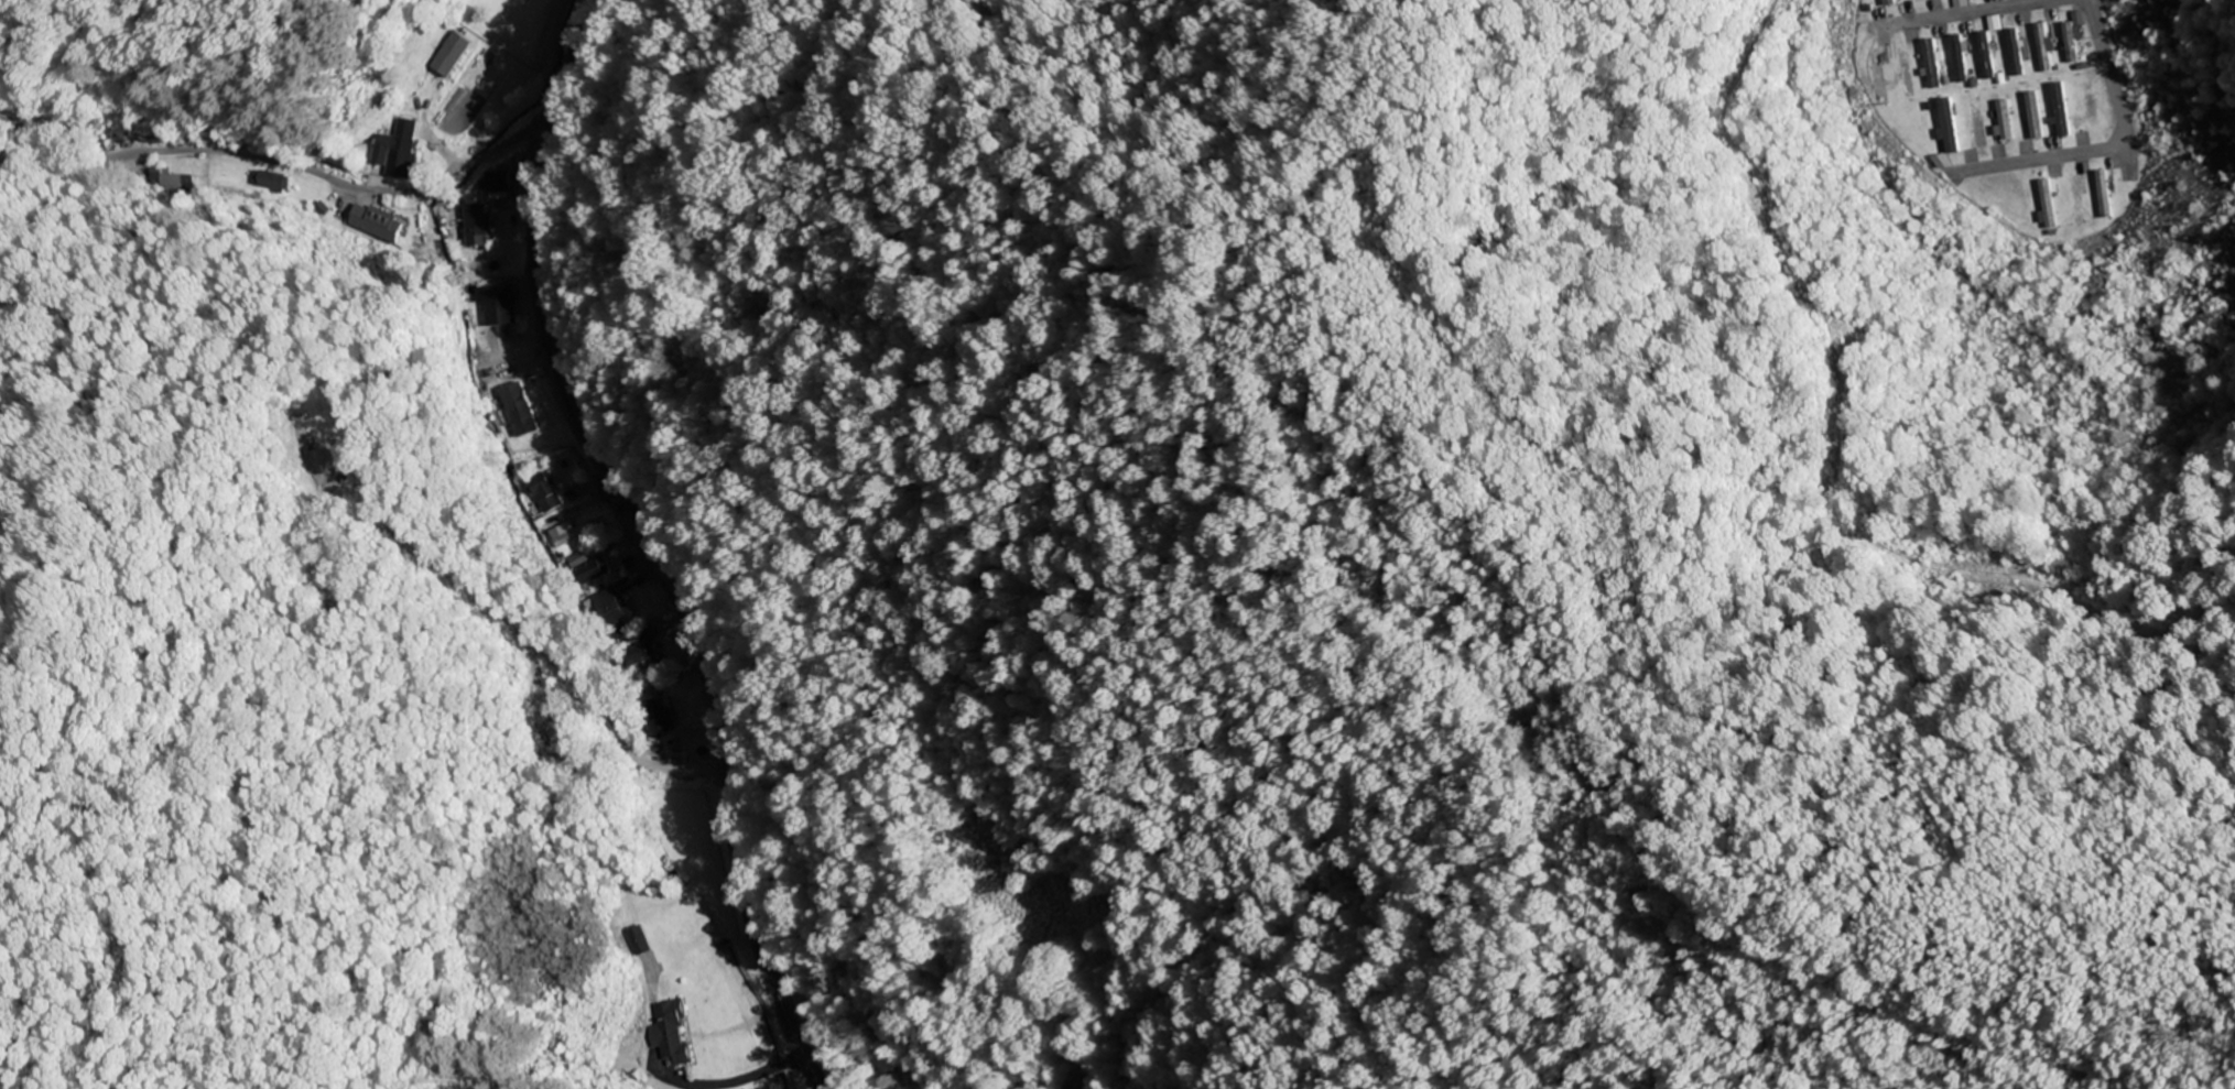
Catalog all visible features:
building: (1888, 2)
building: (1961, 3)
road: (1954, 14)
building: (2071, 39)
building: (2043, 46)
building: (2016, 50)
building: (1987, 53)
building: (451, 55)
building: (1961, 55)
building: (1933, 62)
building: (1905, 70)
building: (1877, 74)
road: (2114, 89)
building: (2090, 104)
building: (2060, 109)
building: (2033, 113)
building: (2004, 120)
building: (1976, 122)
building: (1949, 124)
building: (397, 151)
road: (2038, 159)
road: (287, 168)
building: (498, 182)
building: (2103, 192)
building: (2075, 200)
building: (2047, 204)
building: (383, 225)
building: (478, 226)
building: (500, 308)
building: (519, 411)
building: (542, 491)
building: (564, 534)
road: (653, 542)
building: (586, 571)
building: (610, 609)
road: (610, 726)
building: (550, 742)
building: (669, 1031)
building: (889, 1059)

